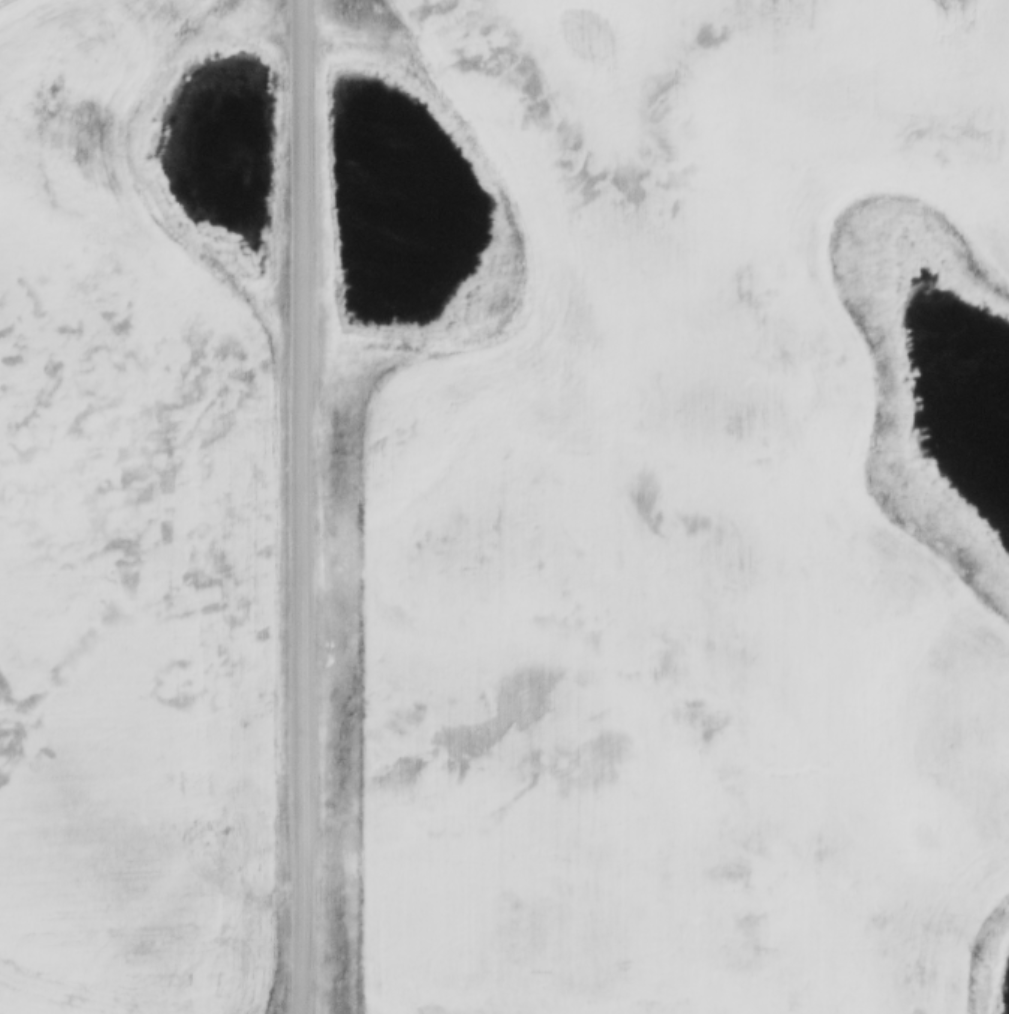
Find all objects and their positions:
road: (302, 507)

